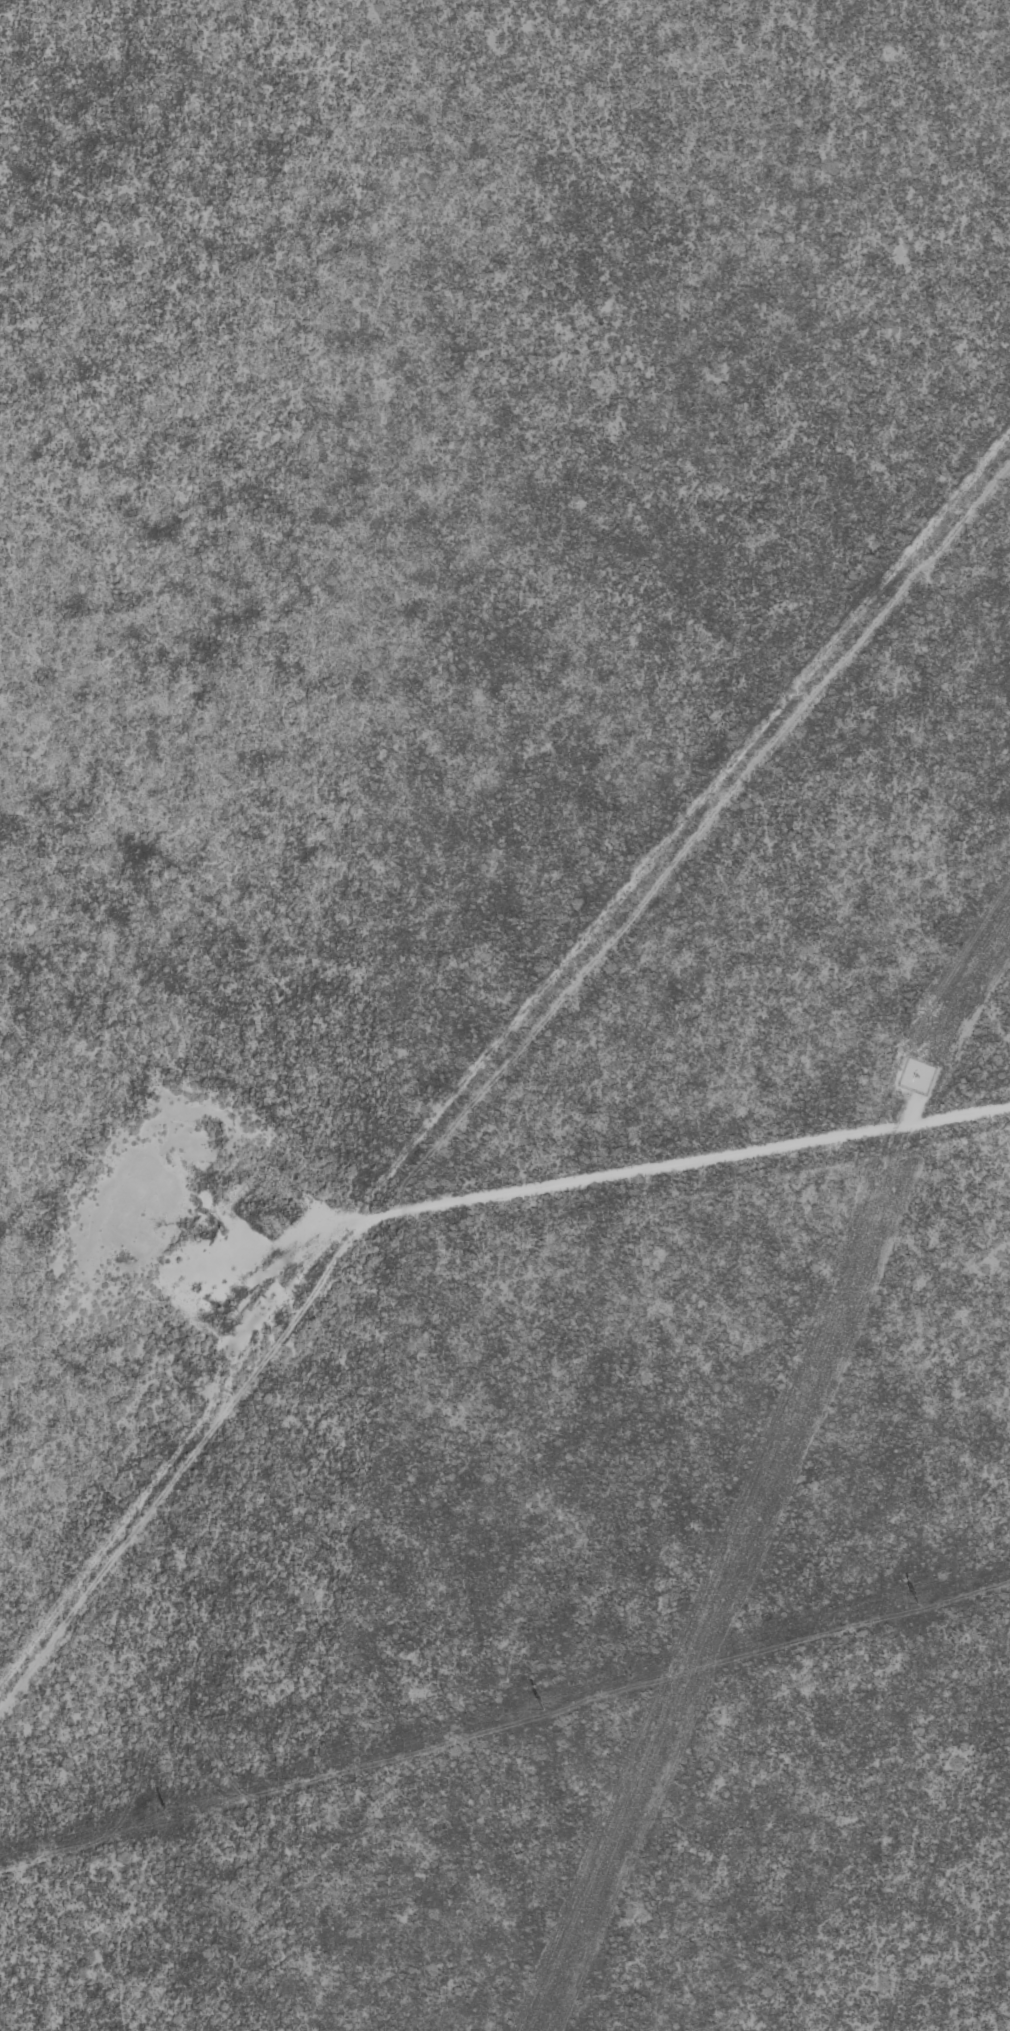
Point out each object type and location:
power tower: (918, 1601)
power tower: (544, 1706)
power tower: (169, 1812)

